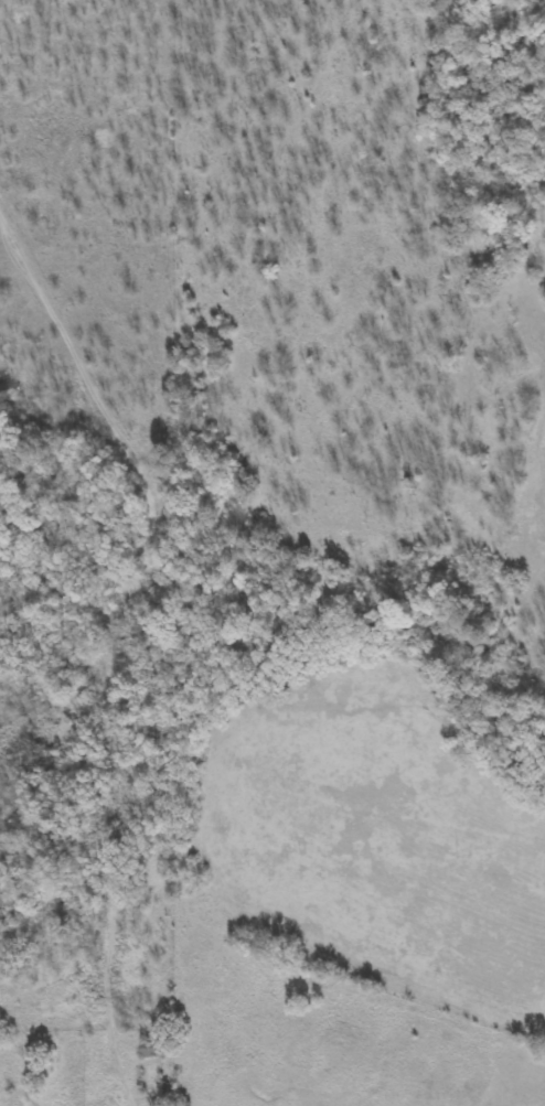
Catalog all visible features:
road: (74, 947)

